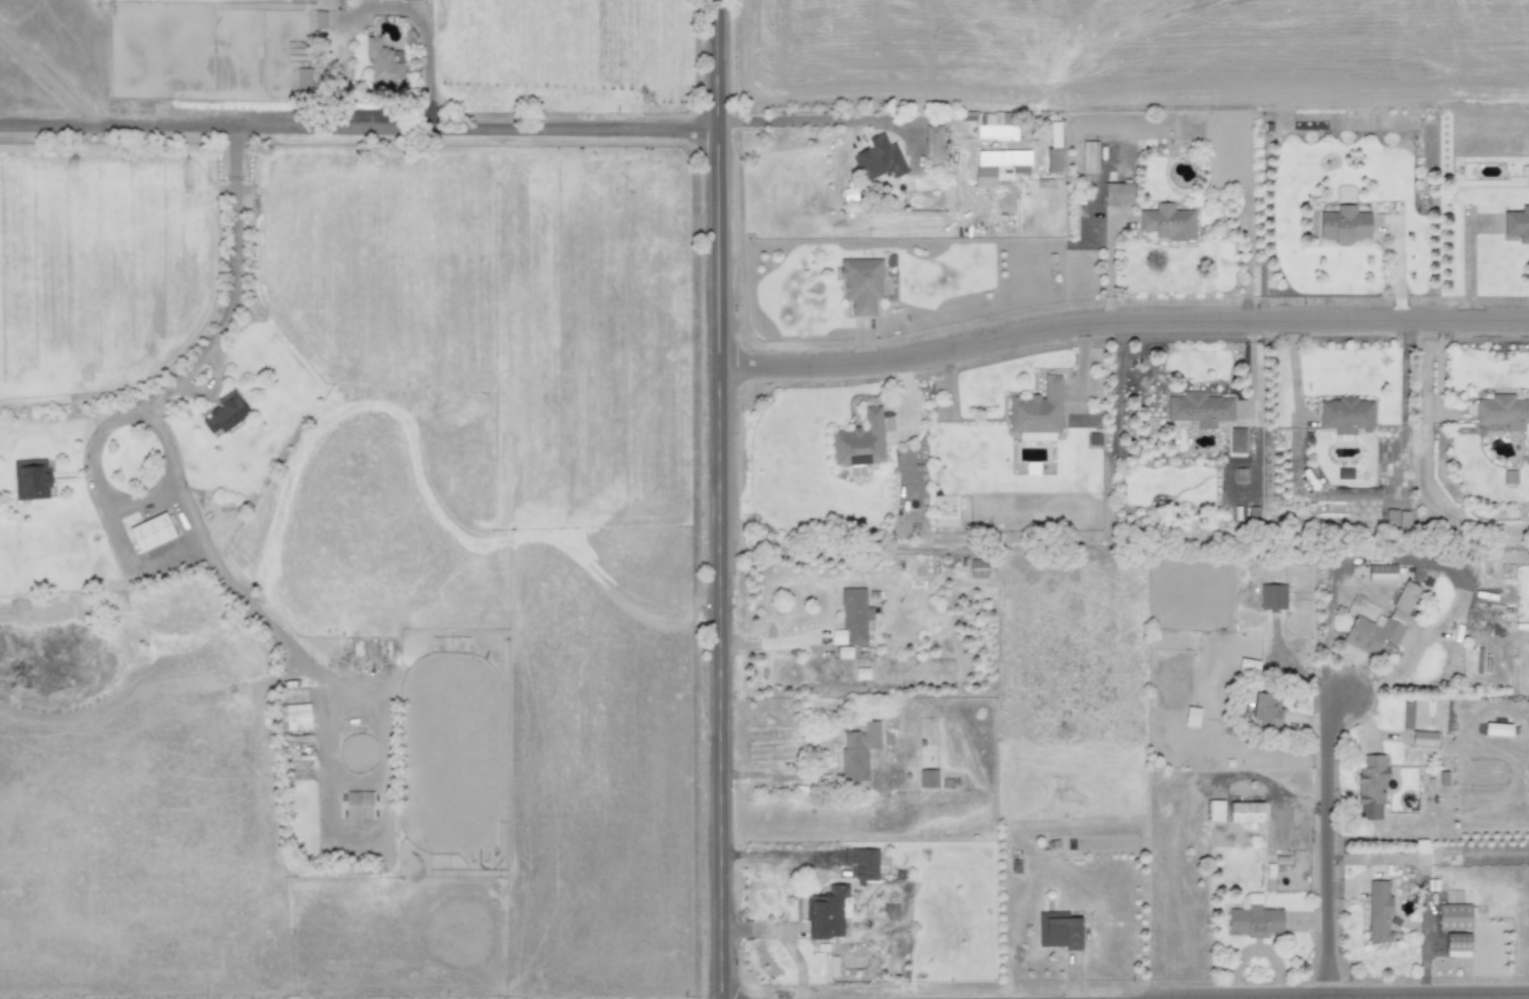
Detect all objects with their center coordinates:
building: (338, 2)
road: (380, 6)
building: (384, 61)
road: (49, 74)
building: (303, 79)
road: (809, 119)
road: (360, 120)
building: (996, 124)
building: (933, 143)
building: (1054, 148)
building: (1089, 156)
building: (879, 158)
building: (996, 173)
building: (849, 193)
building: (1118, 193)
building: (1168, 221)
building: (1517, 222)
building: (1344, 224)
road: (1108, 261)
building: (861, 282)
road: (1124, 321)
road: (145, 396)
building: (1037, 408)
building: (1200, 408)
building: (1504, 411)
building: (225, 412)
building: (1346, 414)
building: (1236, 439)
building: (860, 441)
crop: (458, 478)
road: (722, 499)
building: (151, 531)
building: (978, 567)
building: (1382, 572)
building: (1272, 595)
building: (855, 613)
building: (1382, 622)
road: (279, 632)
building: (838, 635)
building: (844, 651)
building: (1267, 708)
building: (297, 715)
building: (1191, 715)
building: (1498, 728)
building: (1423, 738)
building: (858, 749)
road: (777, 771)
building: (928, 777)
building: (1371, 786)
building: (359, 803)
building: (1216, 809)
building: (1246, 811)
road: (1330, 846)
road: (773, 853)
building: (864, 862)
building: (1379, 911)
building: (826, 912)
building: (1454, 916)
building: (1254, 918)
building: (1058, 929)
road: (778, 942)
building: (1458, 944)
crop: (1511, 993)
road: (1475, 997)

